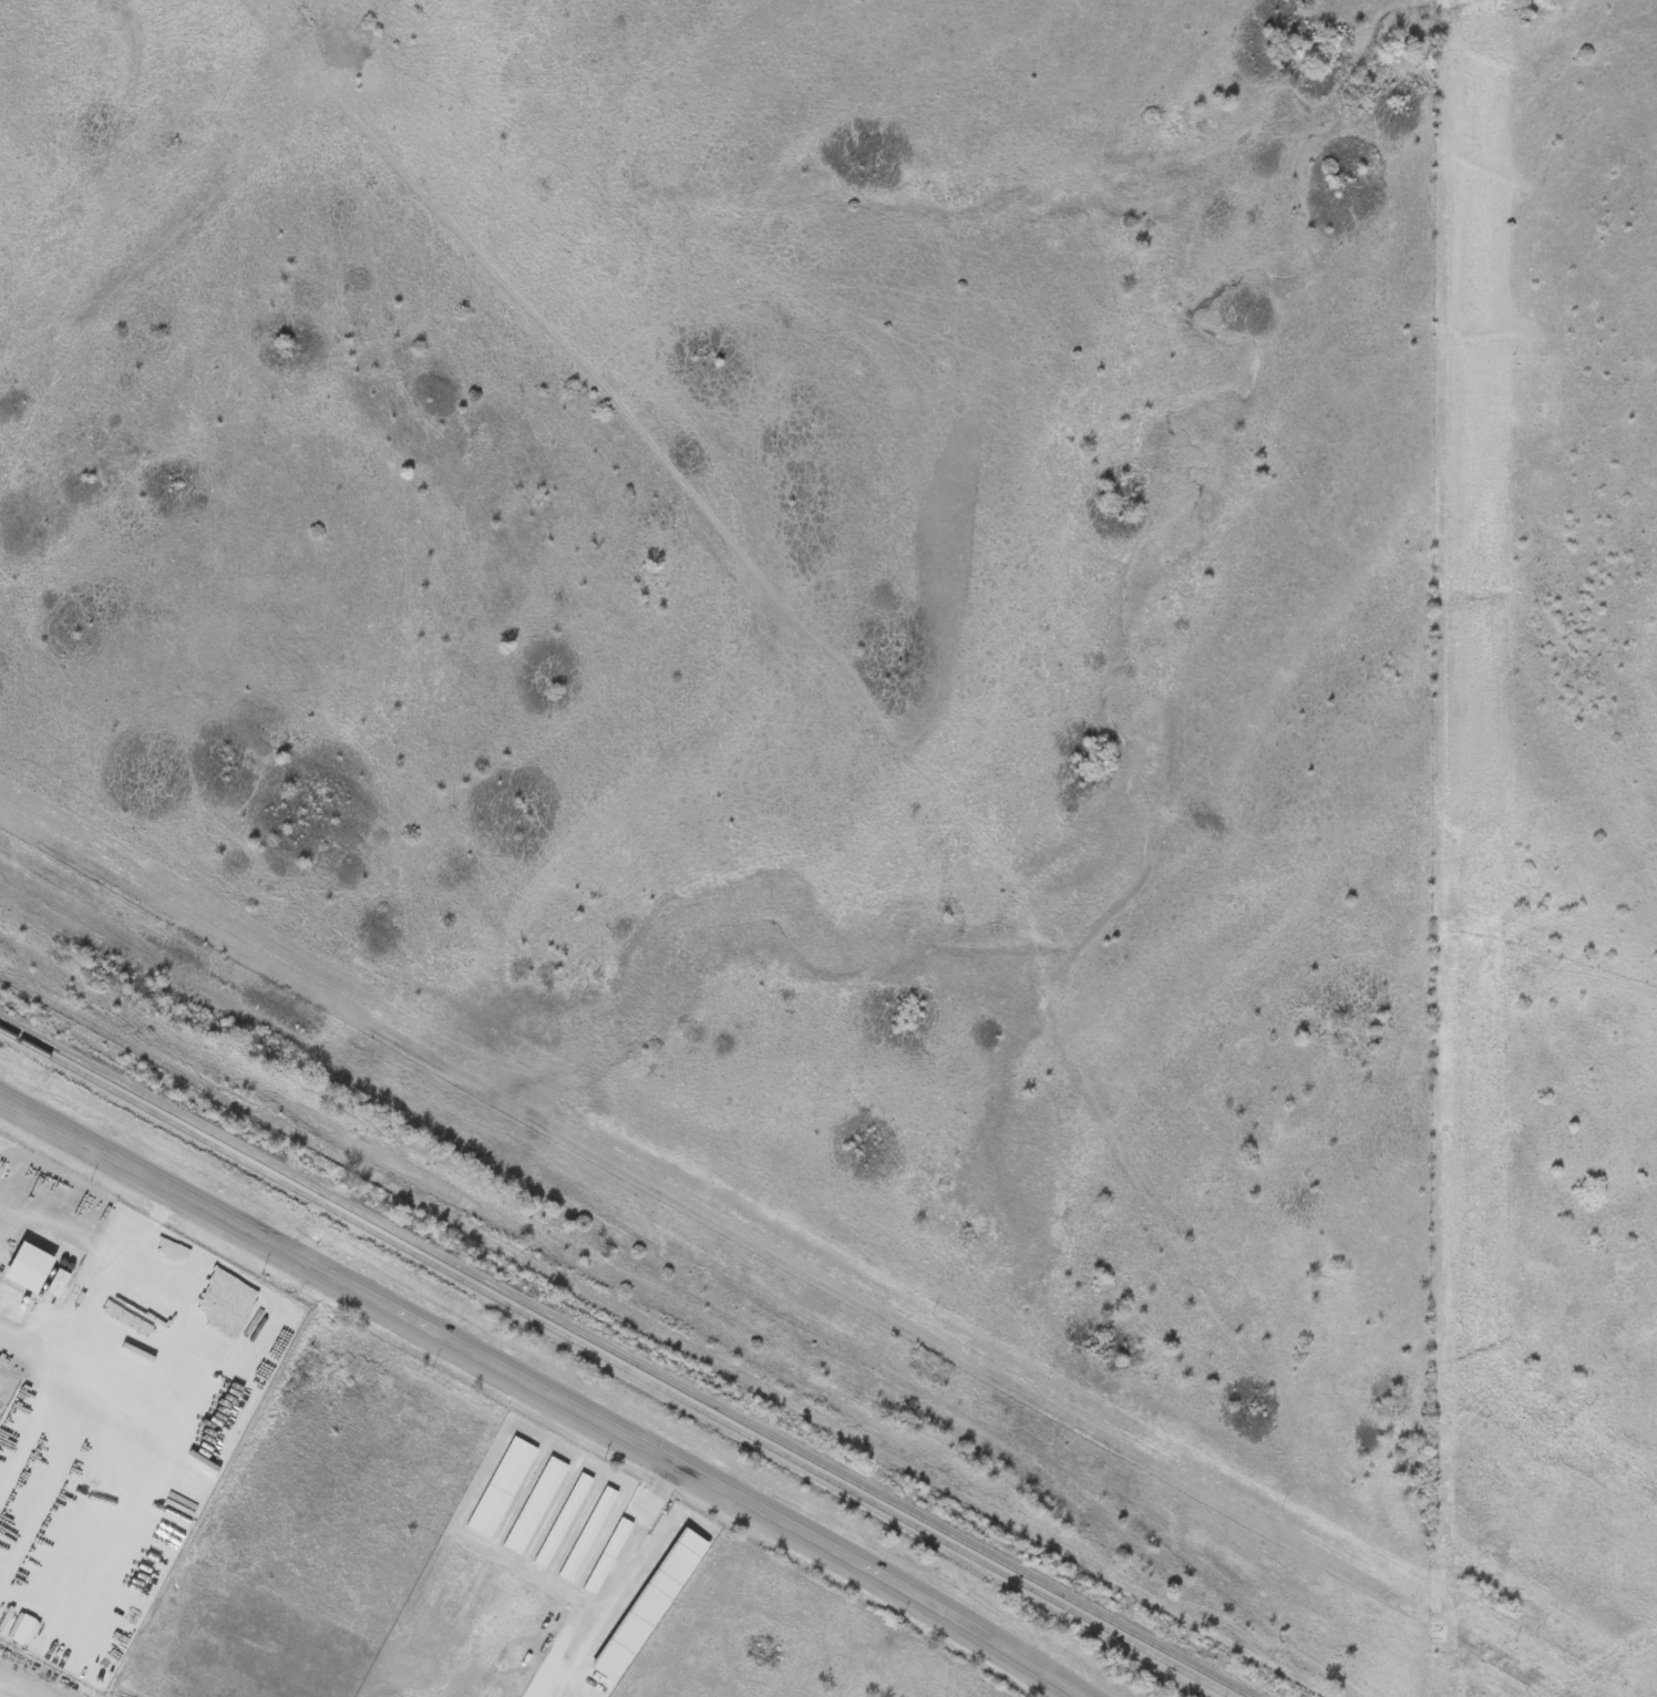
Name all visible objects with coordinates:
road: (6, 1338)
railway: (628, 1355)
railway: (616, 1362)
road: (539, 1393)
road: (611, 1581)

